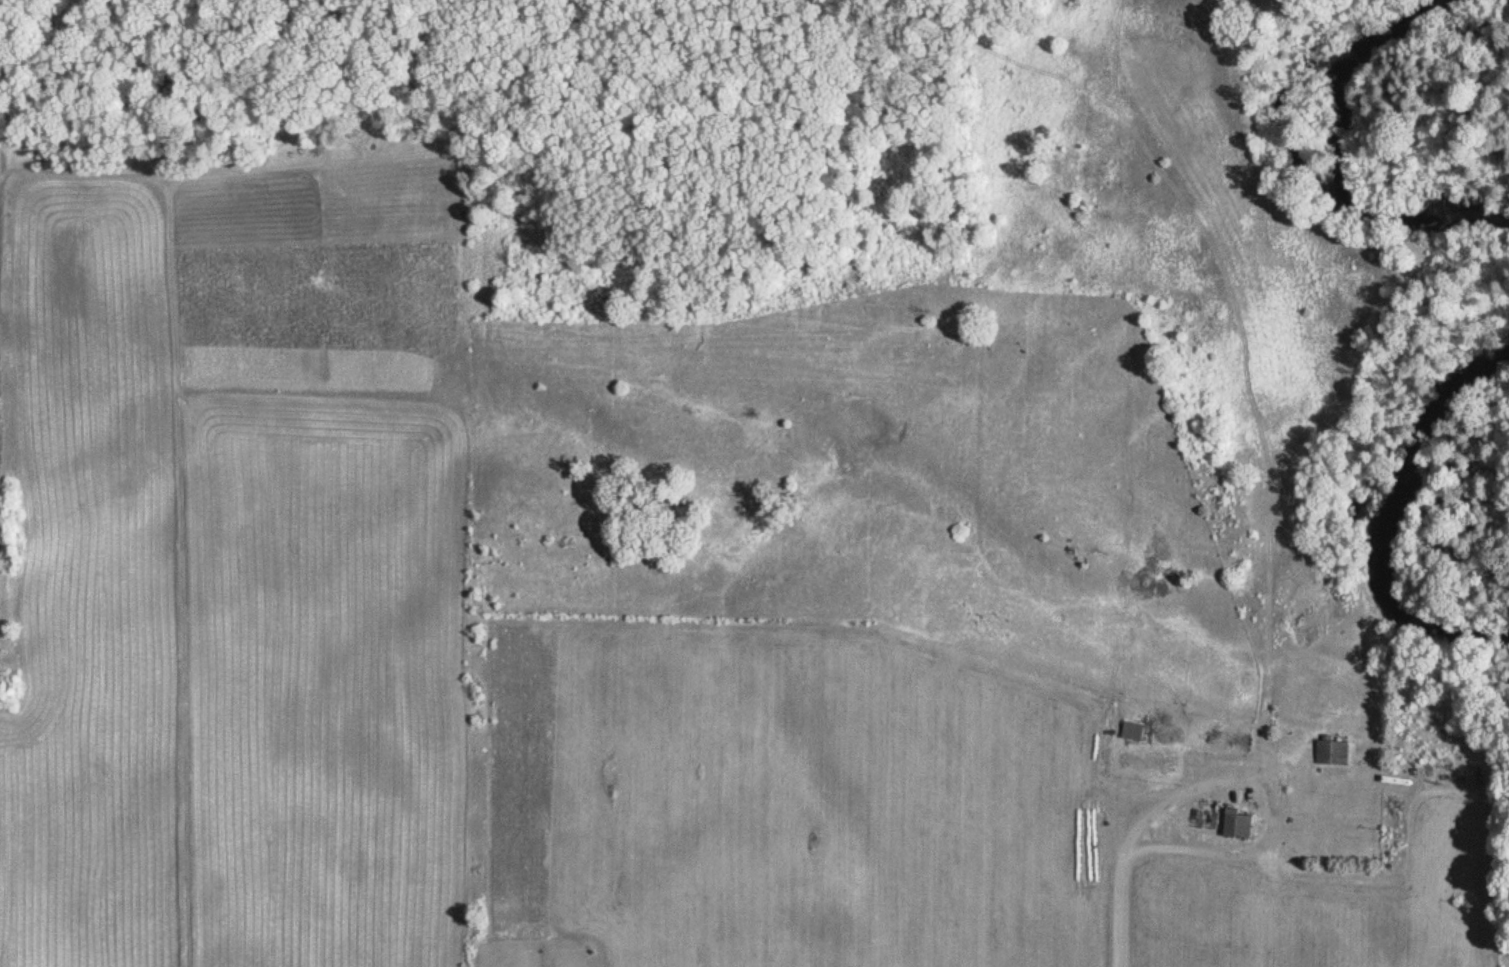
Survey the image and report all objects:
river: (1333, 163)
river: (1389, 522)
building: (1137, 731)
building: (1334, 751)
building: (1243, 823)
road: (1486, 859)
road: (1125, 874)

